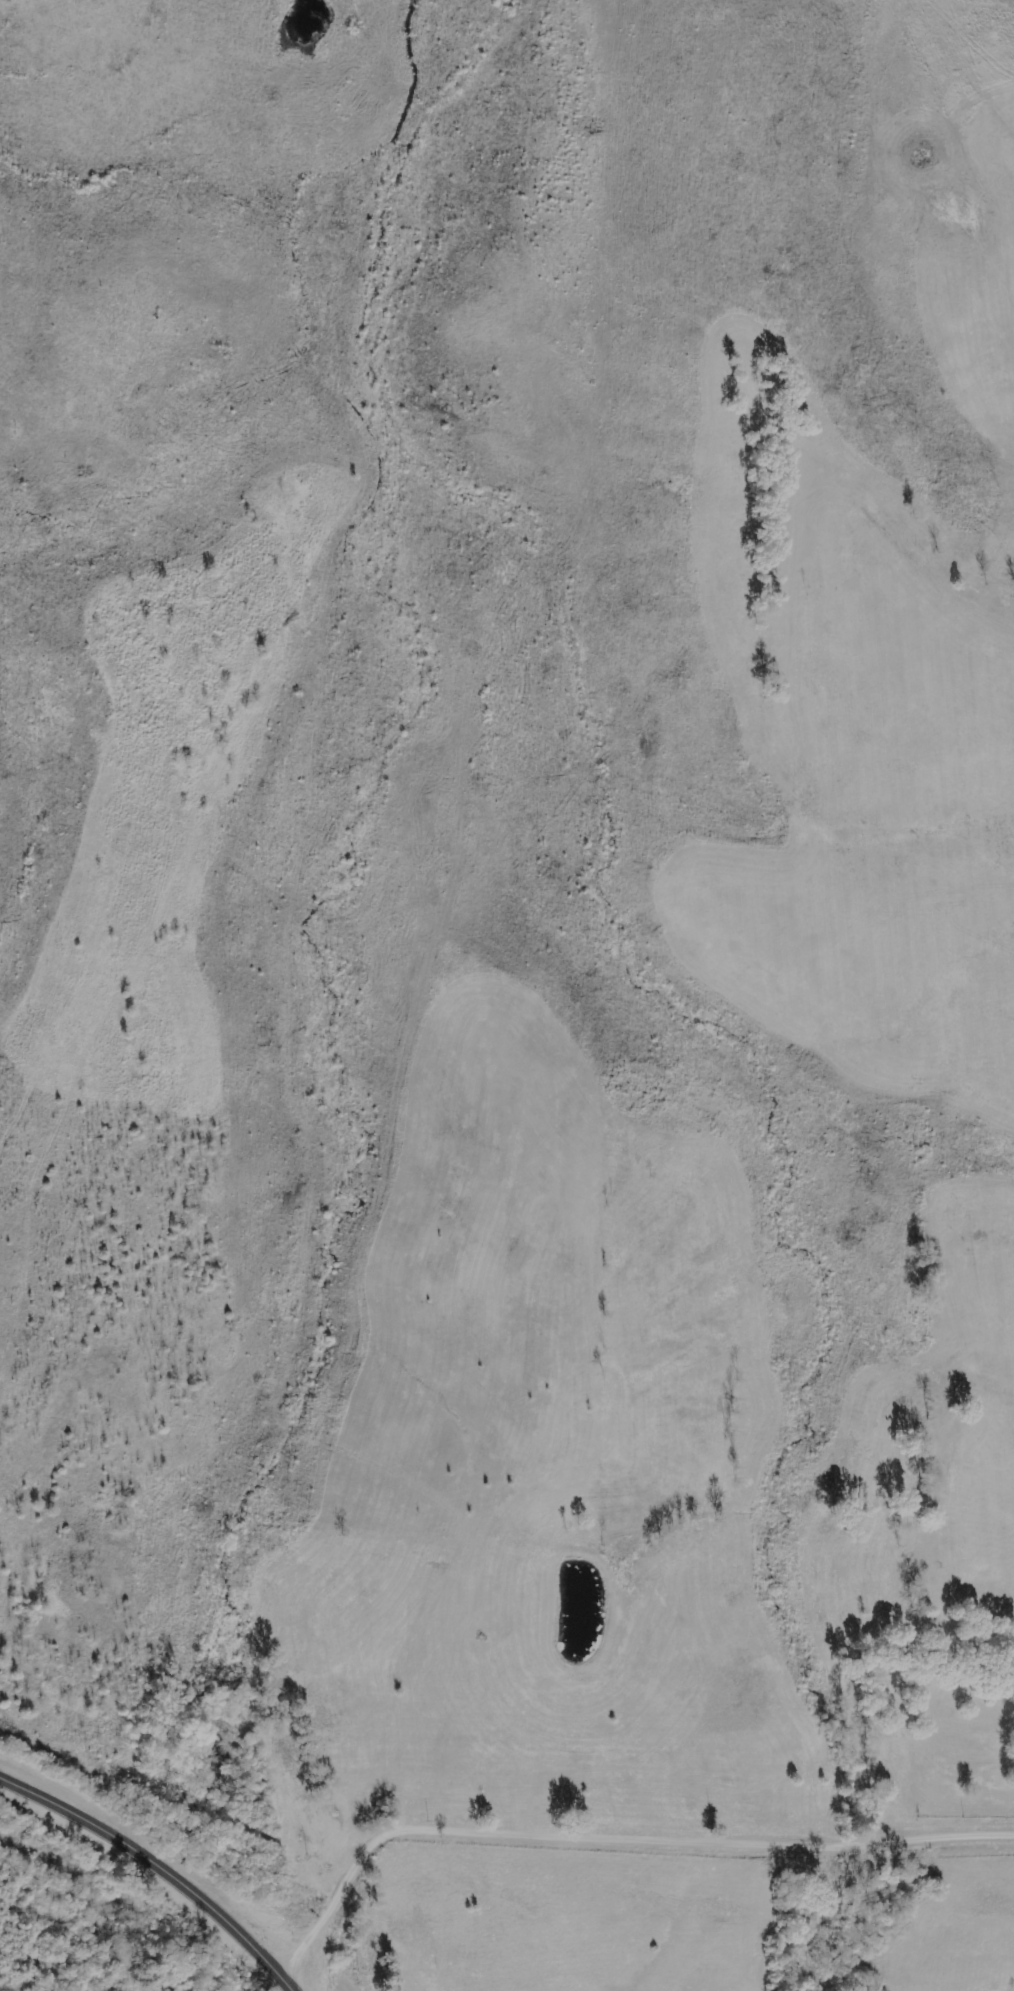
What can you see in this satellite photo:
road: (613, 1836)
road: (160, 1863)

